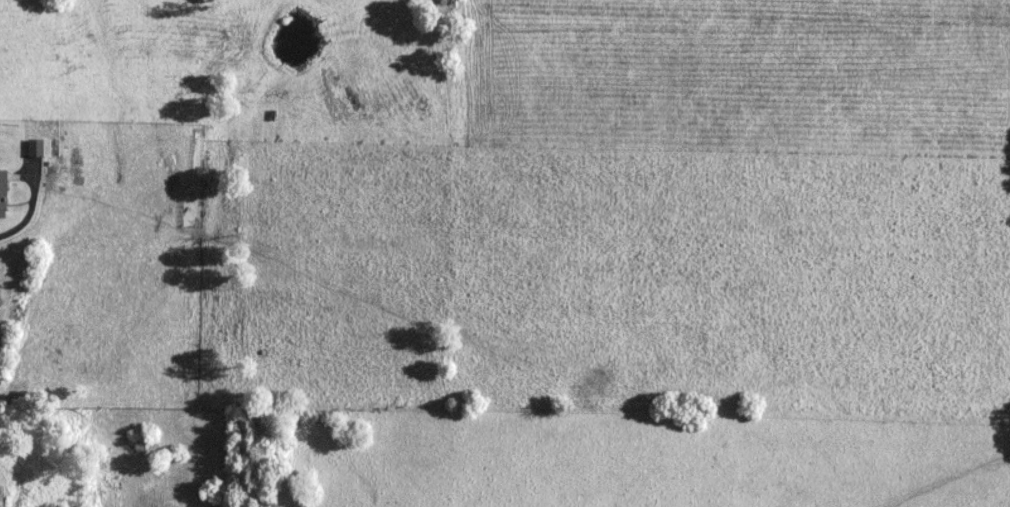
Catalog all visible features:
building: (193, 187)
building: (3, 195)

